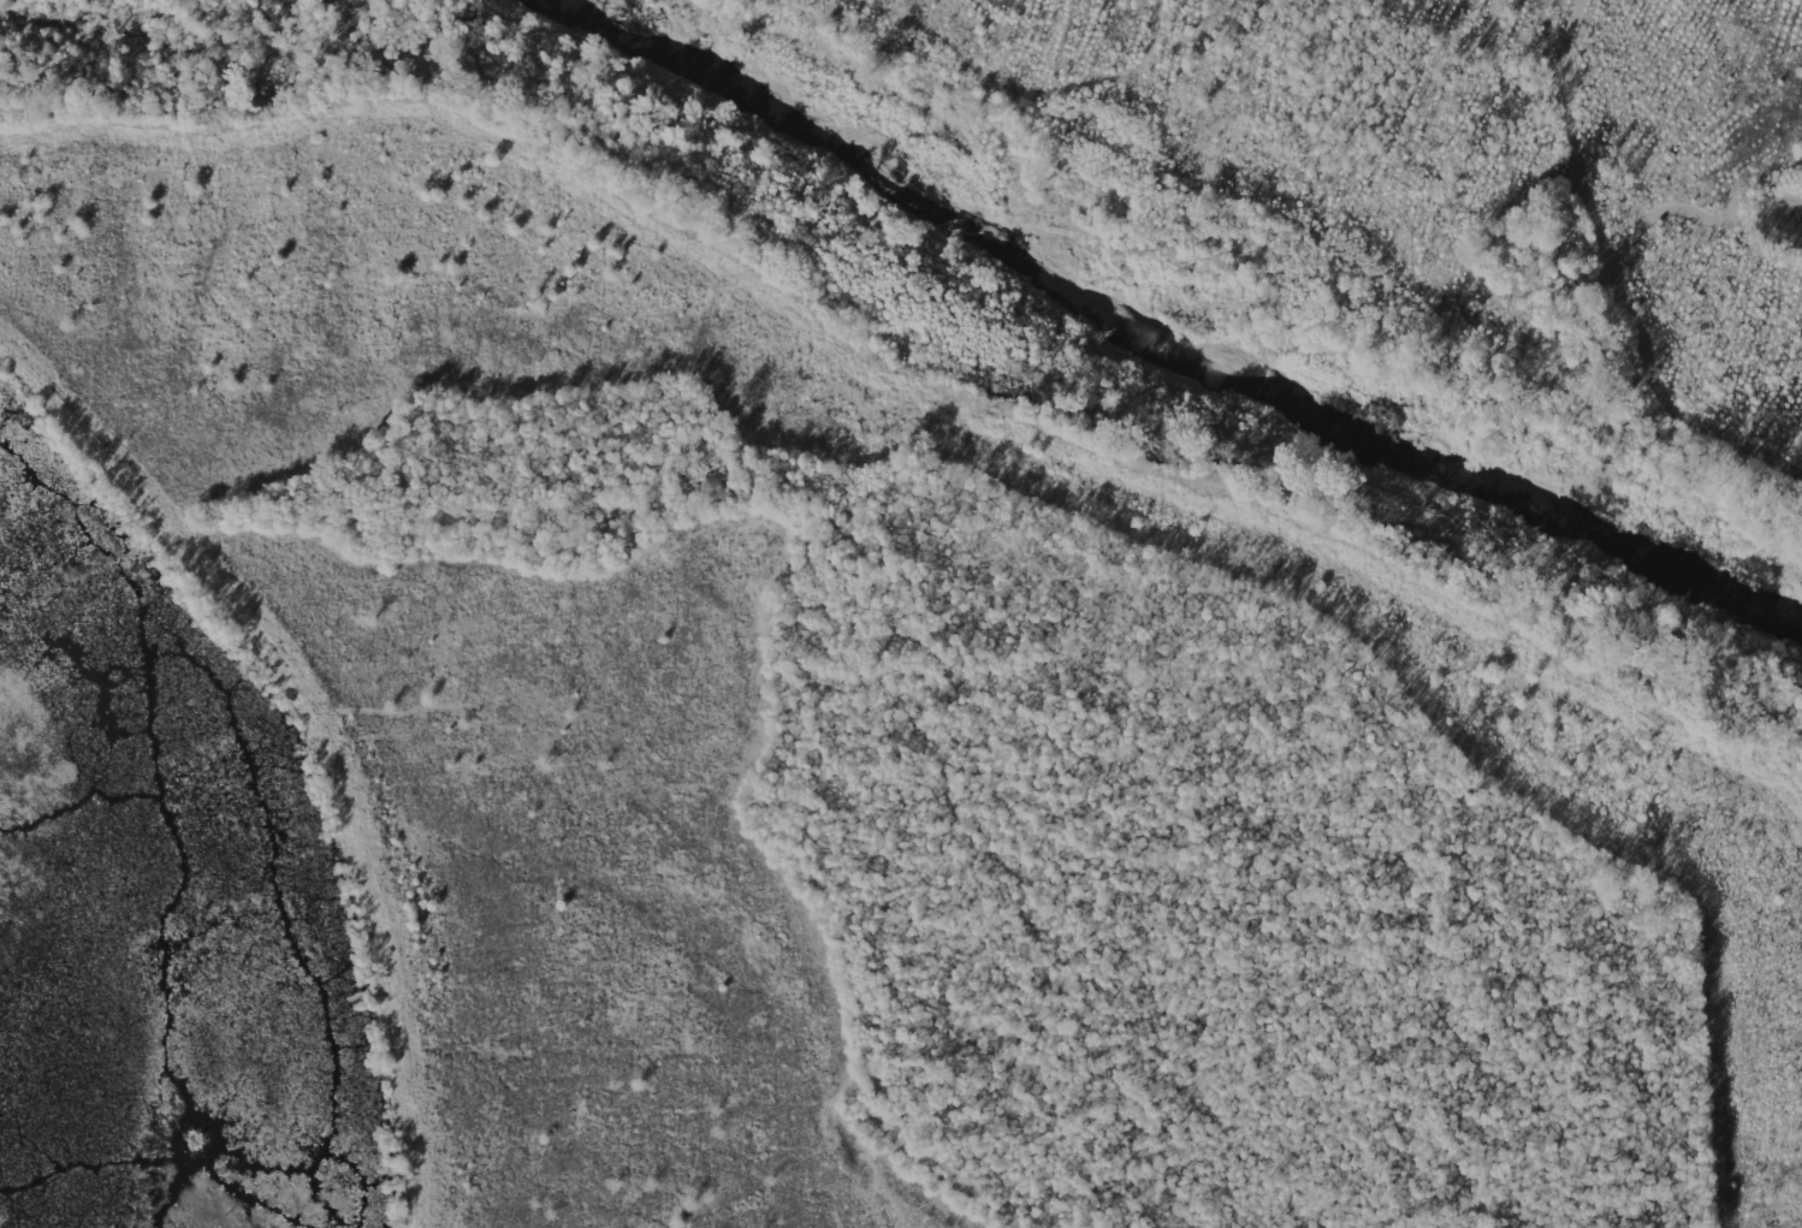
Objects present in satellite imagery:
river: (1193, 315)

